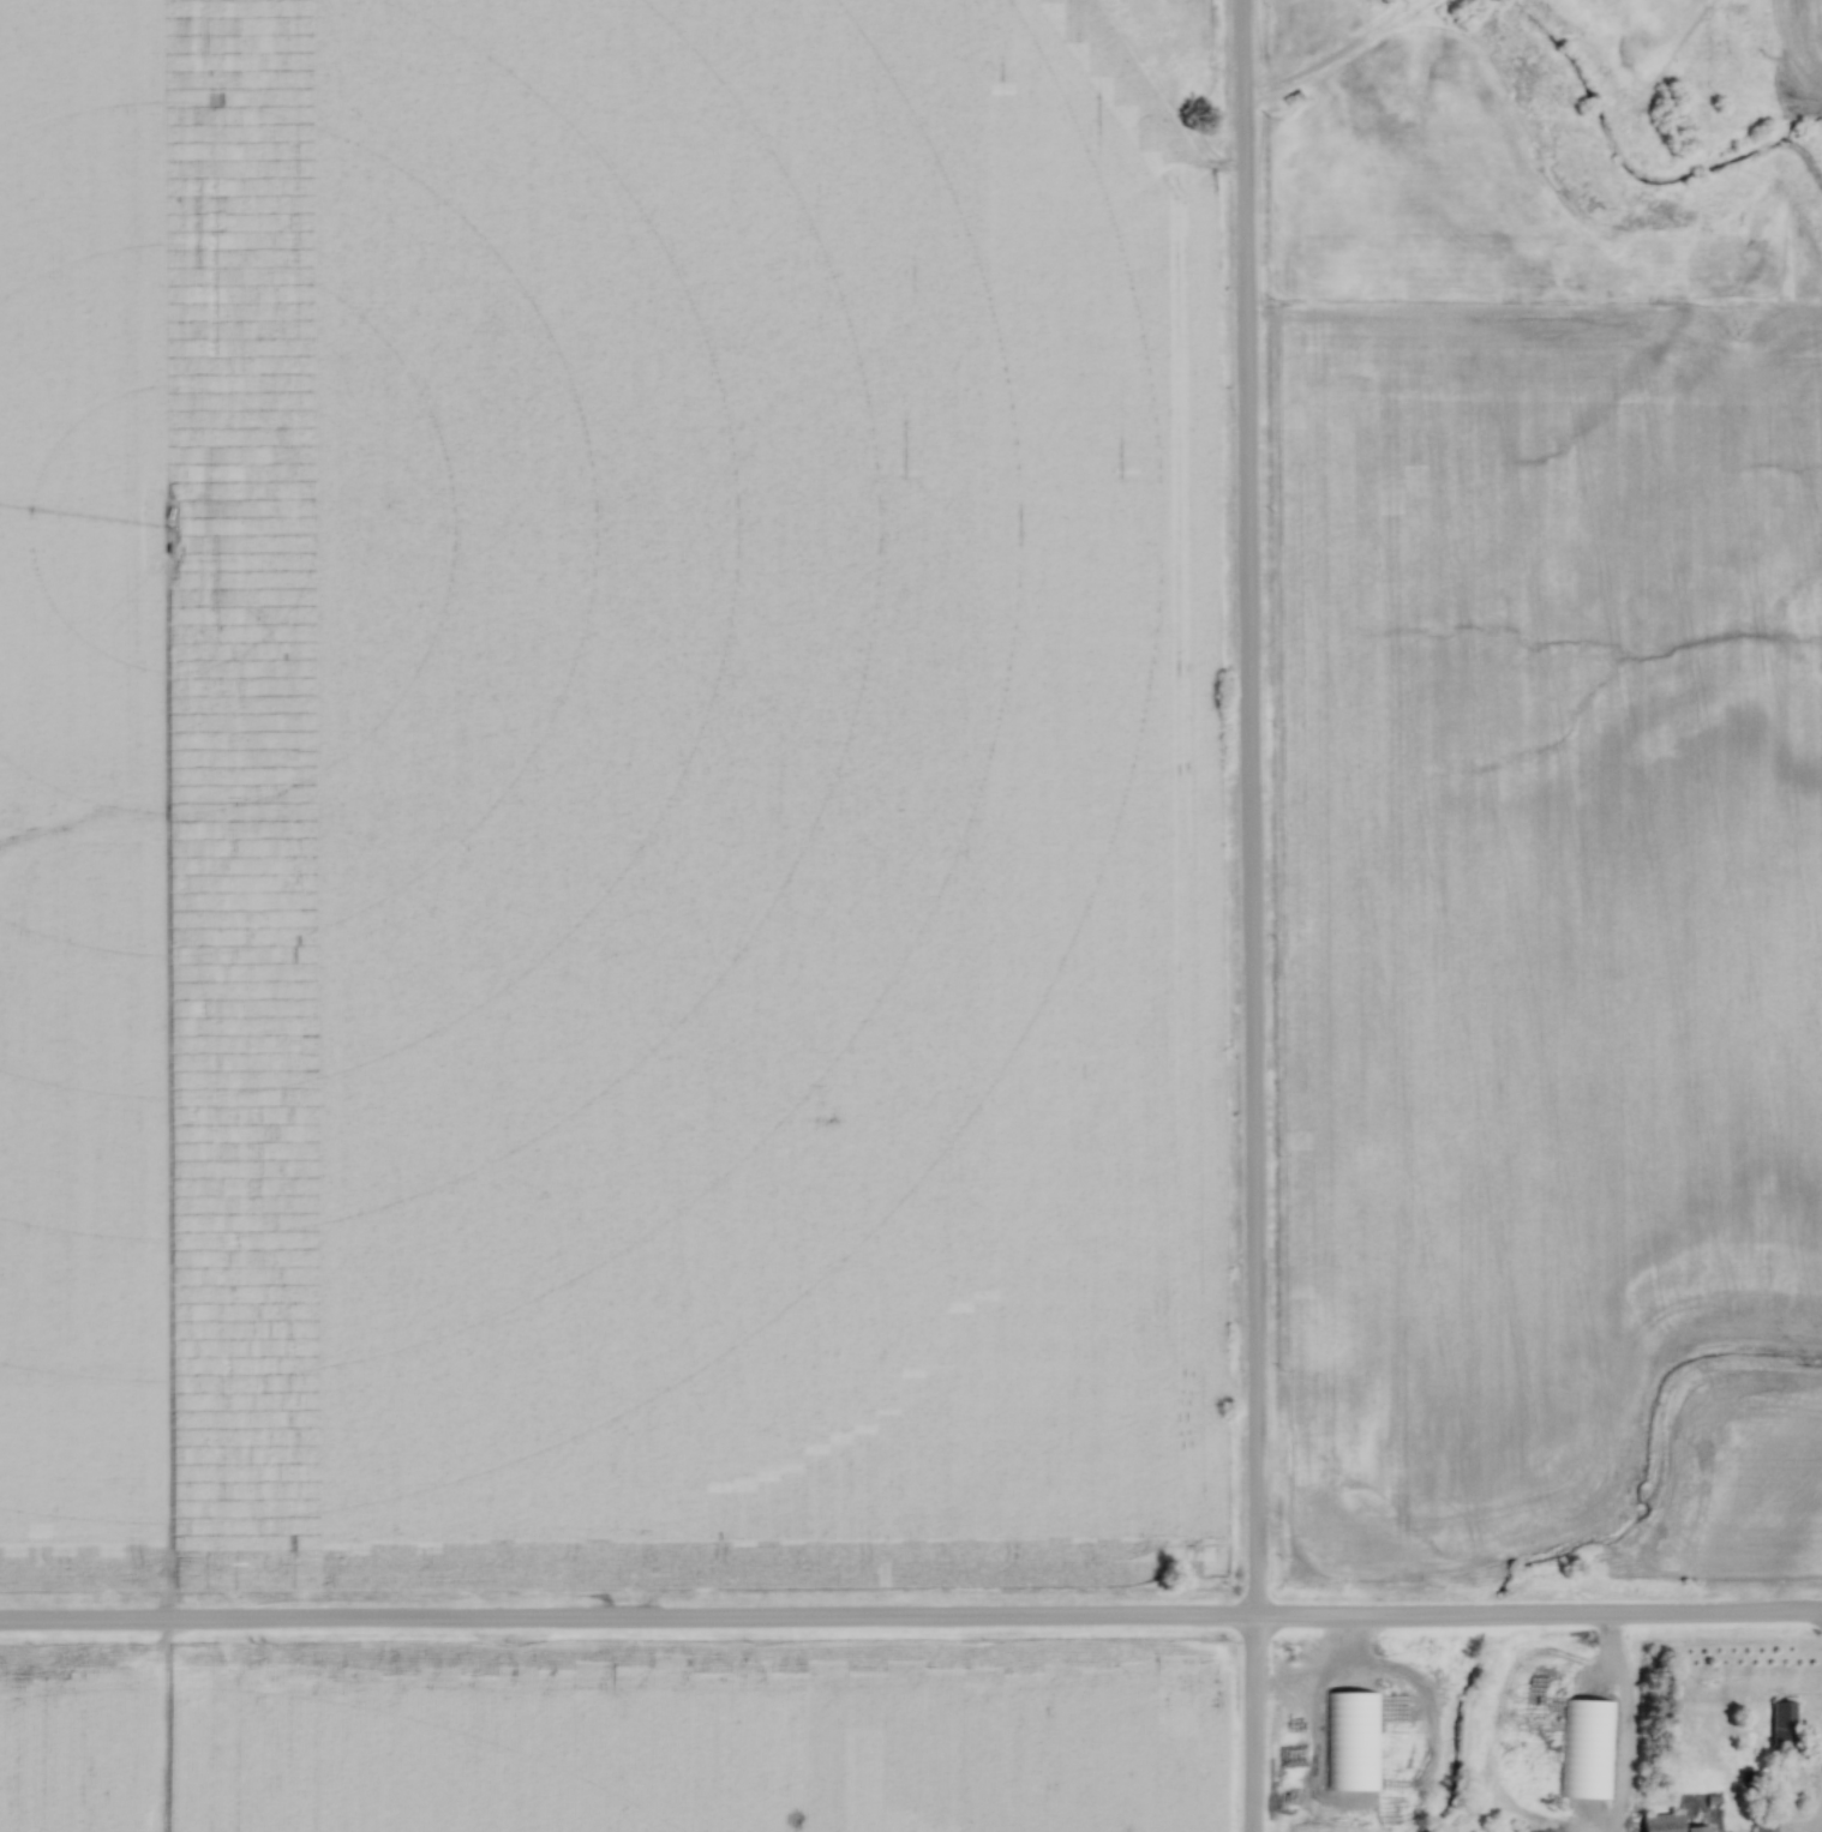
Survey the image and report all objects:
road: (1251, 915)
road: (911, 1621)
building: (1781, 1724)
building: (1350, 1742)
building: (1587, 1750)
building: (1662, 1824)
building: (1762, 1824)
road: (1820, 1828)

